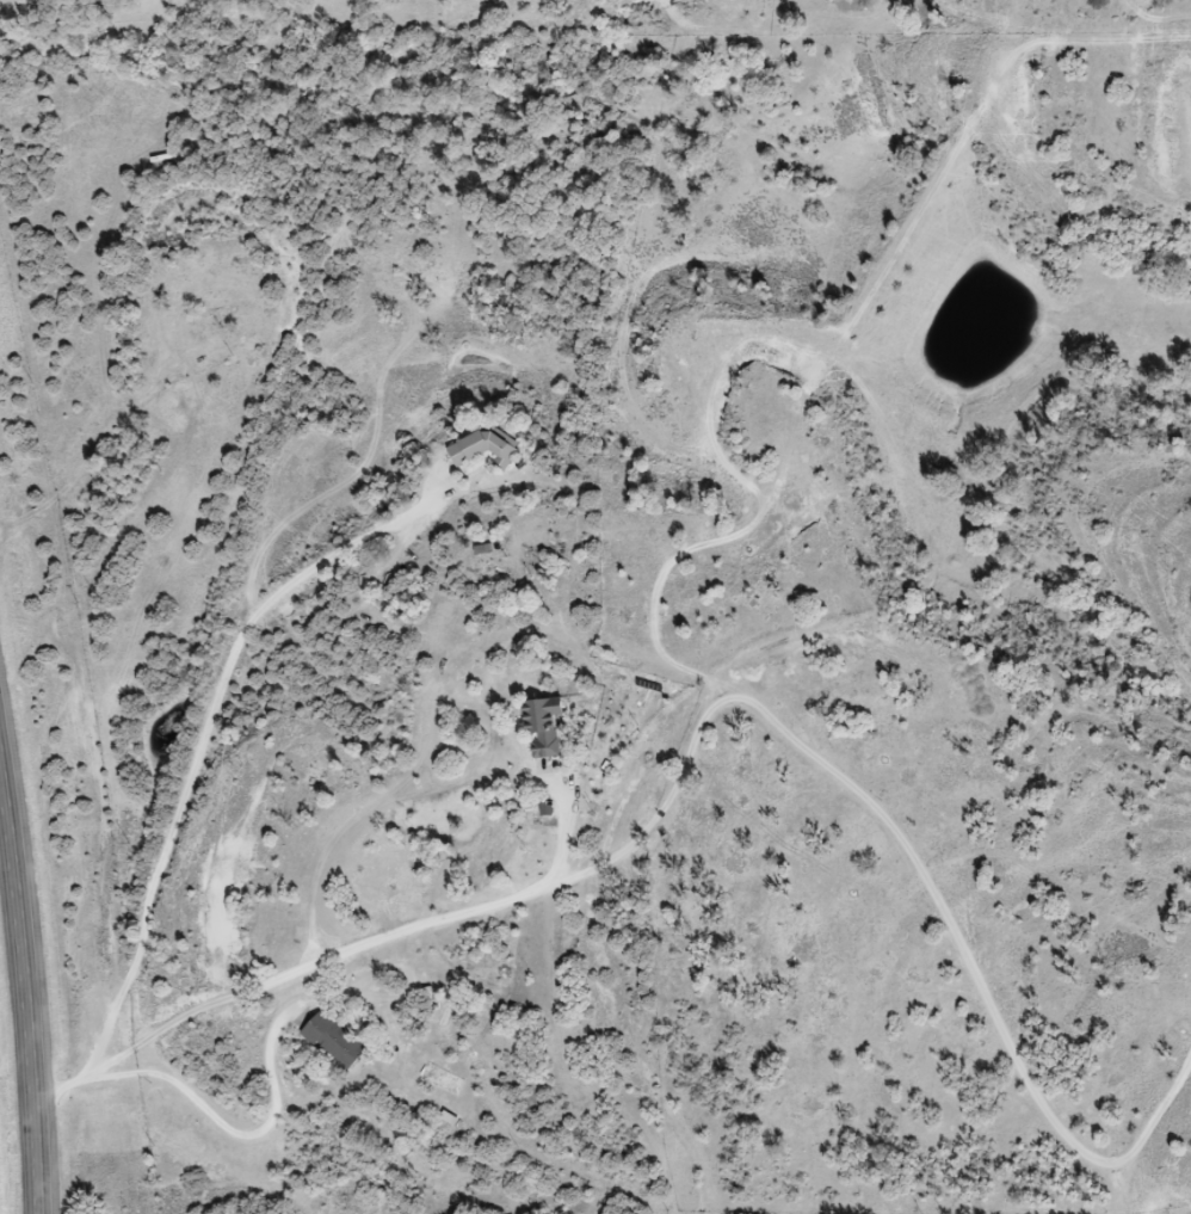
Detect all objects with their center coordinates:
building: (486, 448)
road: (701, 721)
building: (548, 728)
road: (203, 729)
road: (563, 827)
road: (24, 996)
building: (338, 1042)
road: (235, 1133)

